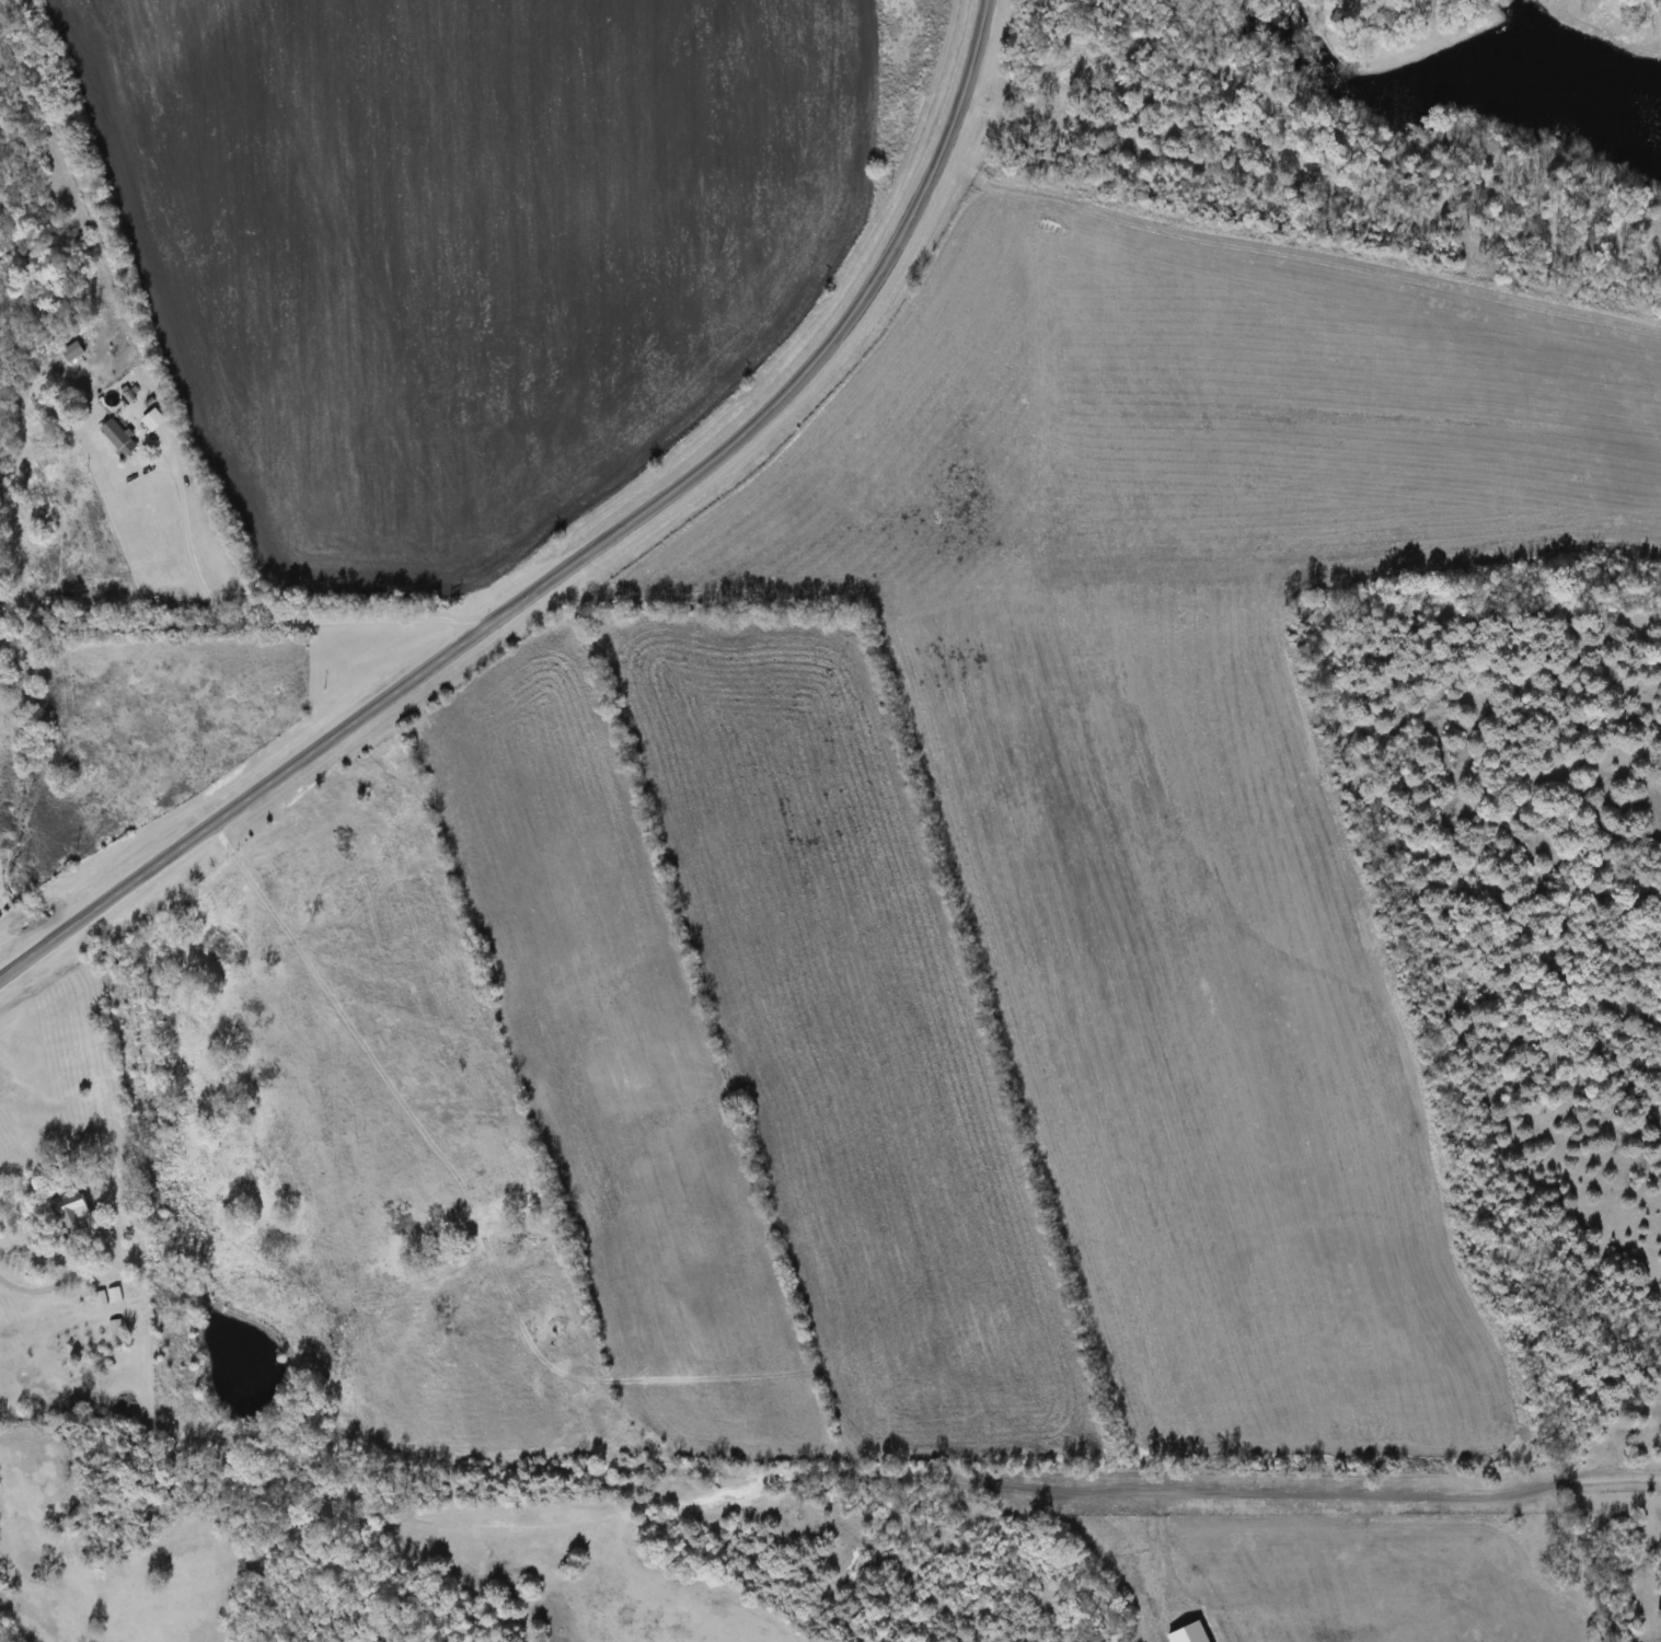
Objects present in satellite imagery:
building: (73, 352)
building: (154, 421)
building: (119, 439)
road: (579, 557)
building: (169, 595)
building: (51, 597)
road: (251, 621)
building: (73, 1210)
road: (53, 1286)
building: (115, 1295)
building: (100, 1299)
building: (116, 1328)
road: (1412, 1492)

